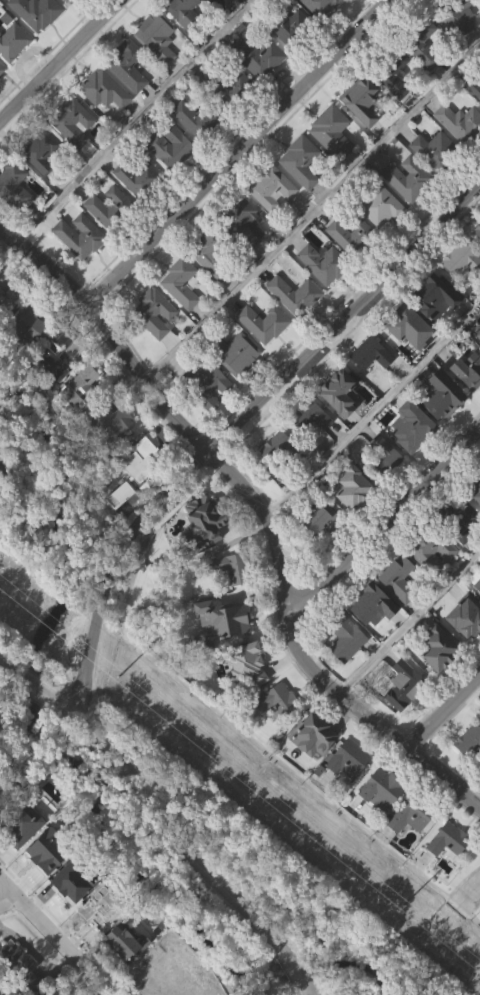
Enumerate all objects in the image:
building: (67, 1)
building: (99, 1)
building: (250, 4)
building: (322, 6)
building: (352, 6)
building: (260, 10)
building: (65, 11)
building: (37, 12)
building: (217, 12)
building: (186, 14)
building: (457, 15)
building: (285, 23)
building: (320, 28)
building: (184, 37)
building: (157, 38)
building: (37, 41)
building: (13, 42)
building: (421, 43)
building: (460, 47)
building: (258, 57)
building: (290, 57)
road: (61, 61)
building: (129, 65)
building: (158, 68)
building: (2, 69)
building: (390, 70)
building: (424, 76)
building: (474, 86)
building: (258, 87)
building: (229, 88)
building: (105, 90)
building: (130, 96)
building: (1, 99)
building: (364, 105)
building: (394, 105)
building: (199, 118)
building: (235, 118)
building: (457, 120)
building: (106, 121)
road: (132, 123)
building: (75, 125)
building: (363, 132)
building: (333, 133)
building: (171, 149)
building: (194, 149)
building: (42, 152)
building: (437, 152)
building: (460, 153)
road: (238, 155)
building: (76, 156)
building: (302, 162)
building: (333, 163)
building: (139, 178)
building: (171, 178)
building: (410, 179)
building: (435, 180)
building: (44, 183)
building: (14, 187)
building: (272, 189)
building: (303, 192)
building: (378, 205)
building: (110, 207)
building: (138, 207)
building: (408, 208)
road: (309, 213)
building: (15, 217)
building: (273, 220)
building: (242, 222)
building: (349, 229)
building: (476, 231)
building: (80, 236)
building: (110, 237)
building: (382, 237)
building: (213, 253)
building: (245, 253)
building: (461, 259)
building: (324, 264)
building: (351, 265)
building: (80, 266)
building: (182, 283)
building: (210, 286)
building: (462, 291)
building: (324, 294)
building: (435, 294)
building: (296, 295)
building: (10, 300)
building: (155, 313)
building: (182, 314)
building: (30, 323)
building: (265, 323)
building: (435, 324)
building: (295, 325)
building: (404, 327)
building: (8, 334)
building: (479, 337)
building: (155, 344)
building: (235, 353)
building: (372, 353)
building: (264, 354)
building: (60, 357)
building: (409, 357)
building: (30, 358)
building: (468, 371)
building: (238, 383)
building: (204, 384)
building: (343, 385)
building: (372, 385)
building: (77, 390)
building: (55, 397)
building: (444, 400)
building: (469, 401)
road: (373, 413)
building: (207, 414)
building: (311, 415)
building: (81, 417)
building: (107, 419)
building: (341, 423)
road: (231, 426)
building: (412, 426)
building: (442, 426)
building: (312, 446)
building: (282, 449)
building: (112, 454)
building: (385, 457)
building: (414, 457)
building: (143, 459)
building: (283, 480)
building: (358, 486)
building: (473, 487)
building: (142, 490)
building: (387, 491)
building: (459, 515)
road: (261, 516)
building: (355, 518)
building: (320, 519)
road: (386, 523)
building: (121, 525)
building: (0, 538)
building: (432, 546)
building: (322, 550)
building: (463, 551)
building: (204, 552)
building: (226, 567)
building: (402, 579)
building: (474, 579)
building: (432, 581)
building: (230, 598)
building: (370, 601)
building: (400, 609)
building: (467, 613)
building: (223, 621)
road: (409, 623)
building: (374, 636)
building: (346, 637)
building: (466, 647)
building: (225, 649)
building: (440, 649)
building: (253, 660)
building: (347, 670)
road: (9, 674)
power tower: (117, 677)
building: (440, 679)
building: (404, 683)
road: (38, 693)
building: (249, 696)
building: (278, 701)
road: (442, 714)
building: (405, 716)
building: (277, 731)
building: (314, 732)
road: (252, 741)
building: (467, 741)
building: (349, 759)
building: (315, 767)
building: (470, 774)
building: (381, 787)
building: (8, 789)
building: (349, 790)
road: (142, 792)
road: (476, 800)
building: (410, 817)
building: (382, 821)
building: (24, 828)
building: (449, 840)
building: (412, 848)
building: (52, 854)
building: (27, 857)
building: (449, 870)
building: (51, 875)
building: (73, 880)
road: (468, 893)
road: (232, 895)
road: (8, 901)
power tower: (402, 910)
building: (97, 913)
building: (72, 914)
road: (56, 937)
building: (96, 943)
building: (122, 944)
road: (282, 947)
building: (22, 967)
building: (178, 968)
building: (124, 972)
building: (15, 984)
building: (60, 990)

